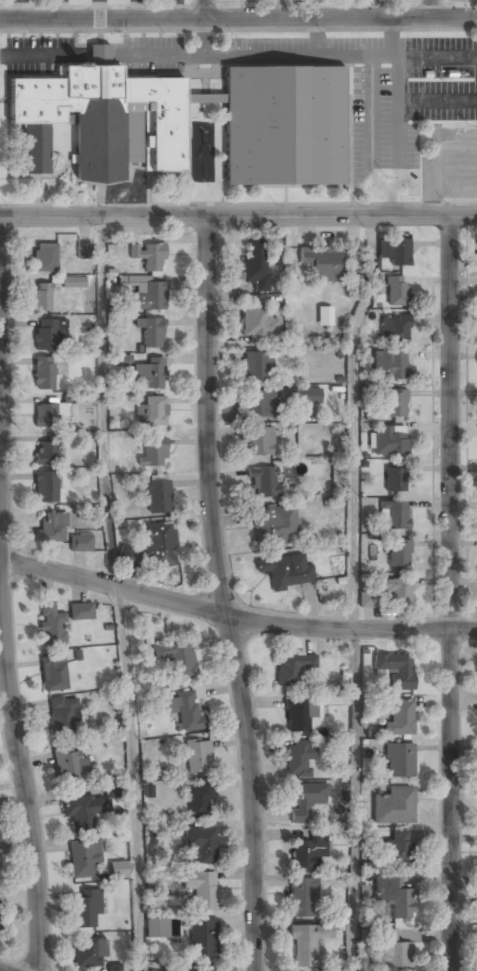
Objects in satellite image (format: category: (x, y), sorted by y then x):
road: (426, 8)
road: (204, 9)
road: (238, 18)
building: (282, 117)
road: (398, 117)
road: (238, 216)
building: (86, 251)
building: (394, 252)
building: (148, 257)
building: (276, 257)
building: (44, 259)
building: (321, 263)
building: (255, 266)
building: (72, 283)
building: (396, 292)
building: (149, 296)
building: (42, 298)
building: (324, 316)
building: (258, 326)
building: (394, 329)
building: (150, 333)
building: (50, 335)
building: (123, 359)
building: (390, 365)
building: (258, 368)
building: (44, 374)
building: (150, 374)
building: (309, 396)
building: (395, 403)
building: (258, 404)
building: (150, 411)
building: (46, 417)
road: (353, 420)
building: (388, 441)
building: (259, 442)
building: (45, 453)
building: (153, 453)
building: (396, 480)
building: (264, 482)
building: (45, 487)
building: (158, 497)
building: (394, 515)
building: (275, 525)
building: (51, 528)
building: (80, 543)
building: (161, 545)
building: (398, 555)
building: (286, 571)
building: (396, 591)
road: (450, 593)
road: (116, 594)
road: (222, 594)
building: (366, 599)
building: (81, 612)
road: (237, 613)
building: (51, 625)
building: (177, 657)
building: (292, 669)
building: (395, 670)
building: (53, 673)
building: (187, 711)
building: (299, 715)
building: (63, 716)
building: (400, 718)
road: (19, 753)
building: (199, 757)
building: (298, 759)
building: (399, 761)
building: (70, 766)
building: (113, 790)
road: (354, 799)
building: (307, 801)
building: (199, 802)
building: (394, 806)
building: (83, 811)
building: (201, 844)
building: (396, 849)
building: (309, 851)
building: (82, 860)
building: (118, 869)
building: (201, 890)
building: (394, 896)
building: (303, 898)
building: (87, 908)
building: (156, 928)
building: (203, 939)
building: (308, 944)
building: (393, 949)
building: (89, 952)
building: (113, 968)
building: (198, 969)

